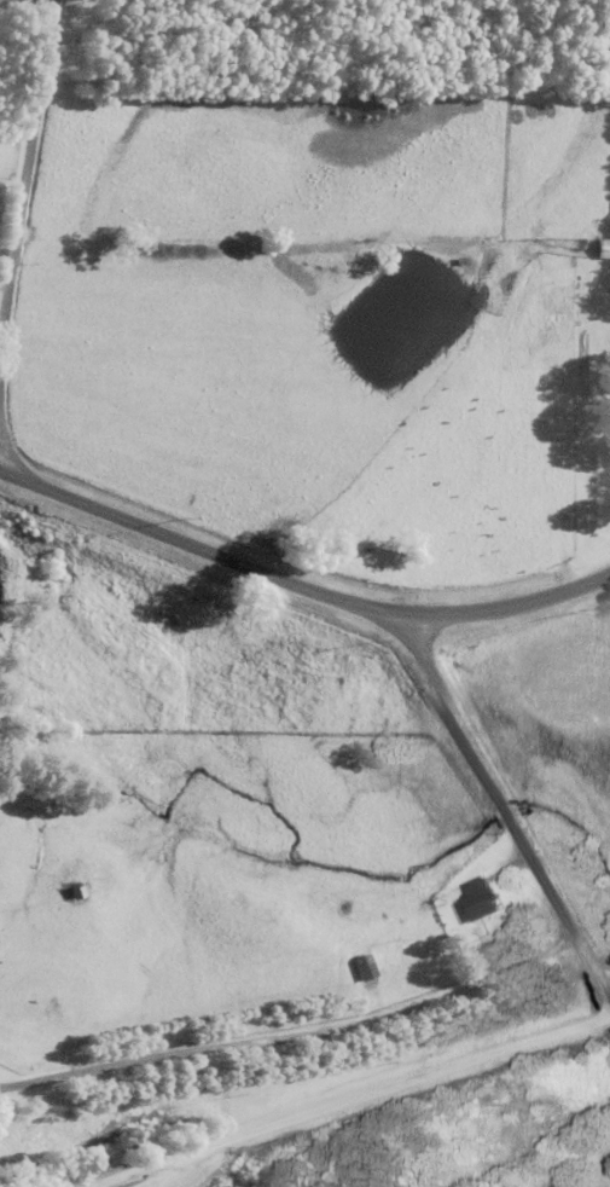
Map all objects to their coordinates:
road: (23, 167)
building: (599, 250)
road: (1, 459)
road: (300, 585)
road: (501, 809)
building: (474, 902)
building: (356, 968)
building: (414, 973)
building: (554, 1185)

